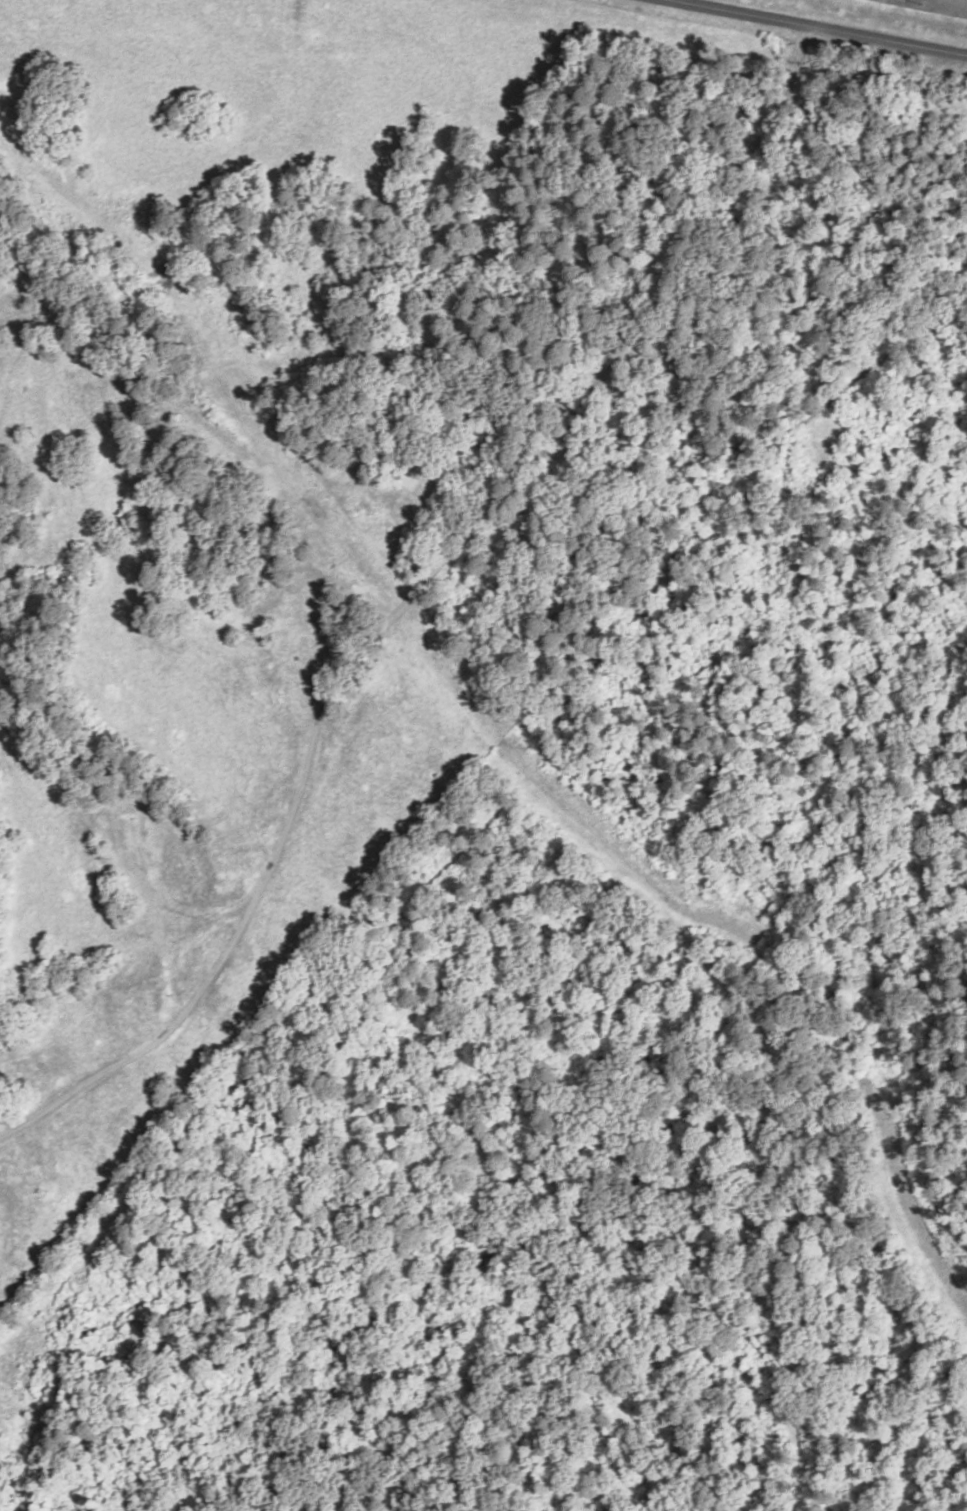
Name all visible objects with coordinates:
road: (819, 29)
building: (175, 112)
road: (42, 1074)
road: (538, 1341)

